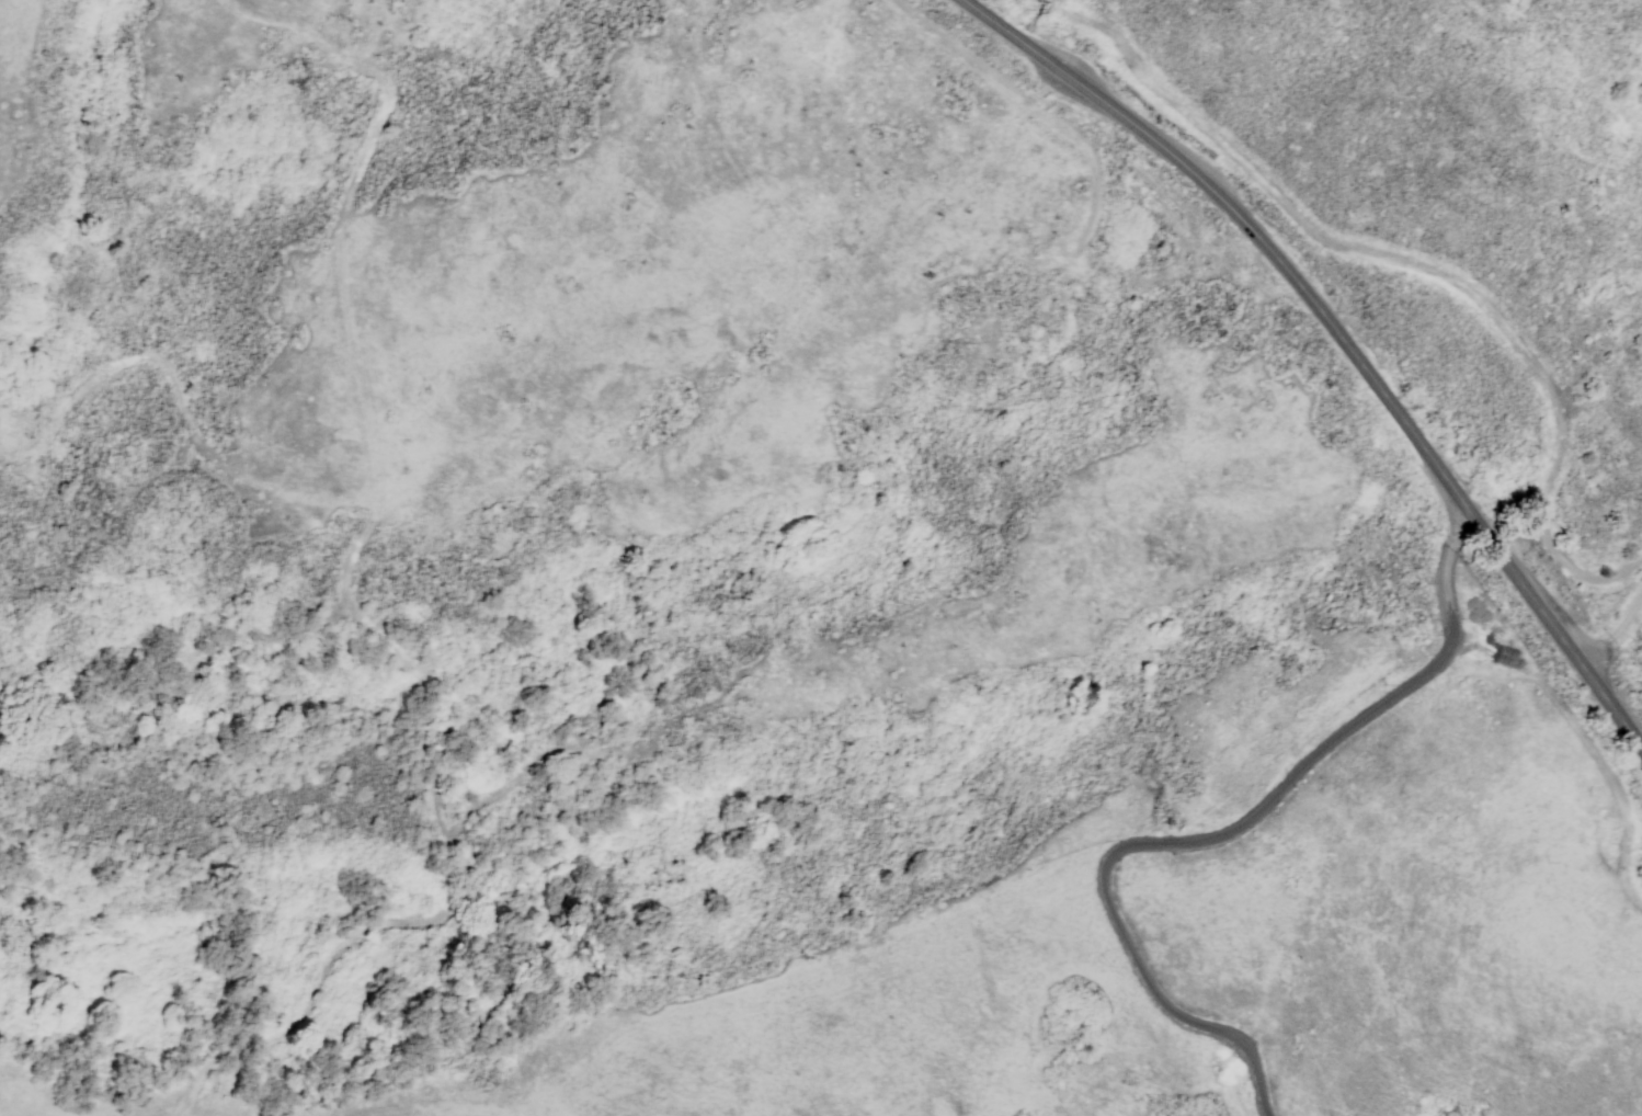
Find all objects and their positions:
road: (1036, 98)
road: (333, 253)
road: (1423, 261)
road: (1337, 340)
road: (189, 407)
road: (1610, 626)
road: (1213, 836)
road: (426, 889)
road: (733, 992)
road: (41, 1108)

